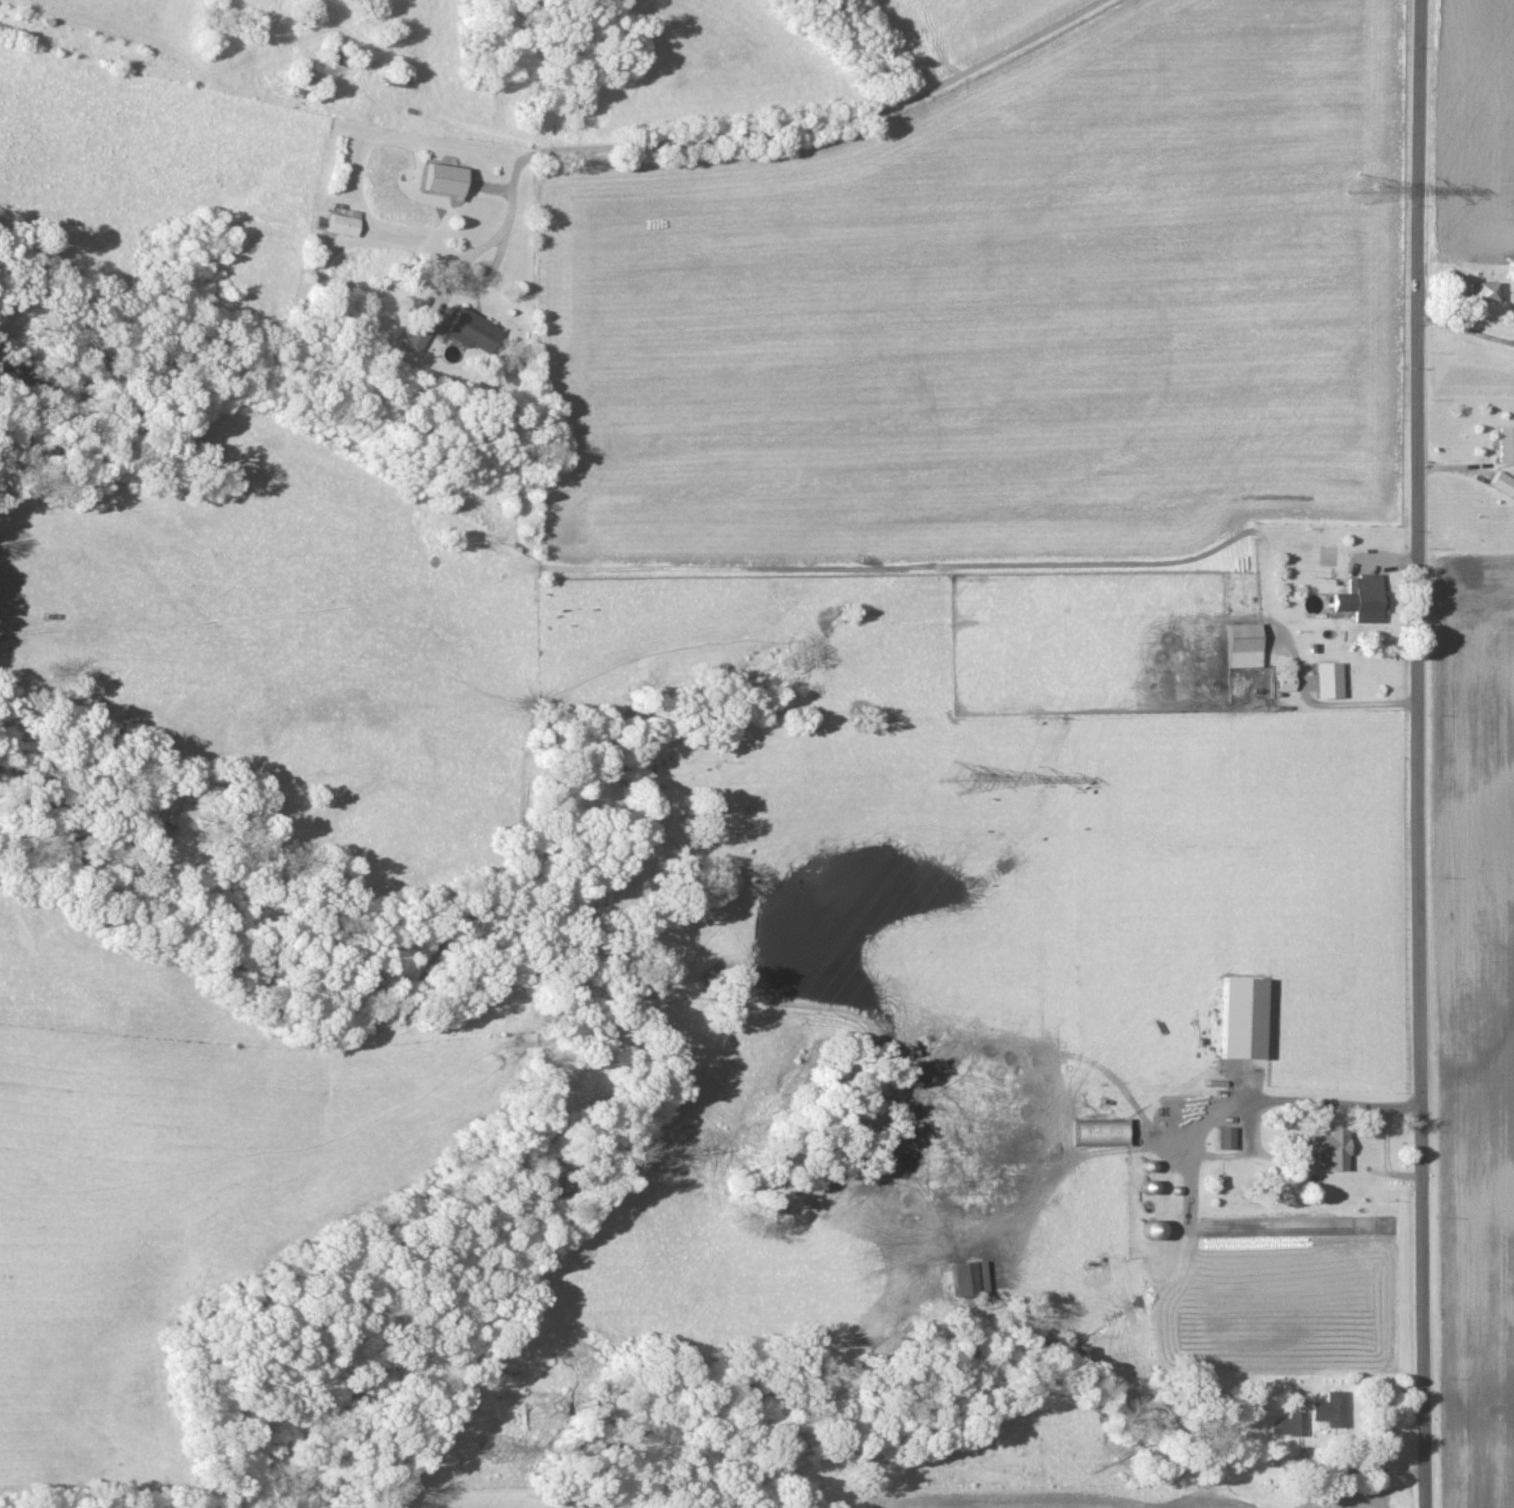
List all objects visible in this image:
road: (794, 133)
building: (444, 182)
power tower: (1357, 192)
building: (345, 225)
road: (463, 283)
building: (1485, 293)
building: (471, 333)
building: (417, 336)
building: (1506, 447)
building: (1503, 486)
building: (1362, 601)
building: (1243, 648)
building: (1328, 682)
building: (1285, 683)
road: (1420, 753)
power tower: (950, 782)
building: (1241, 1019)
building: (1099, 1134)
building: (1225, 1139)
building: (1330, 1147)
building: (1150, 1230)
building: (969, 1280)
building: (1330, 1411)
building: (1293, 1427)
power tower: (477, 1456)

